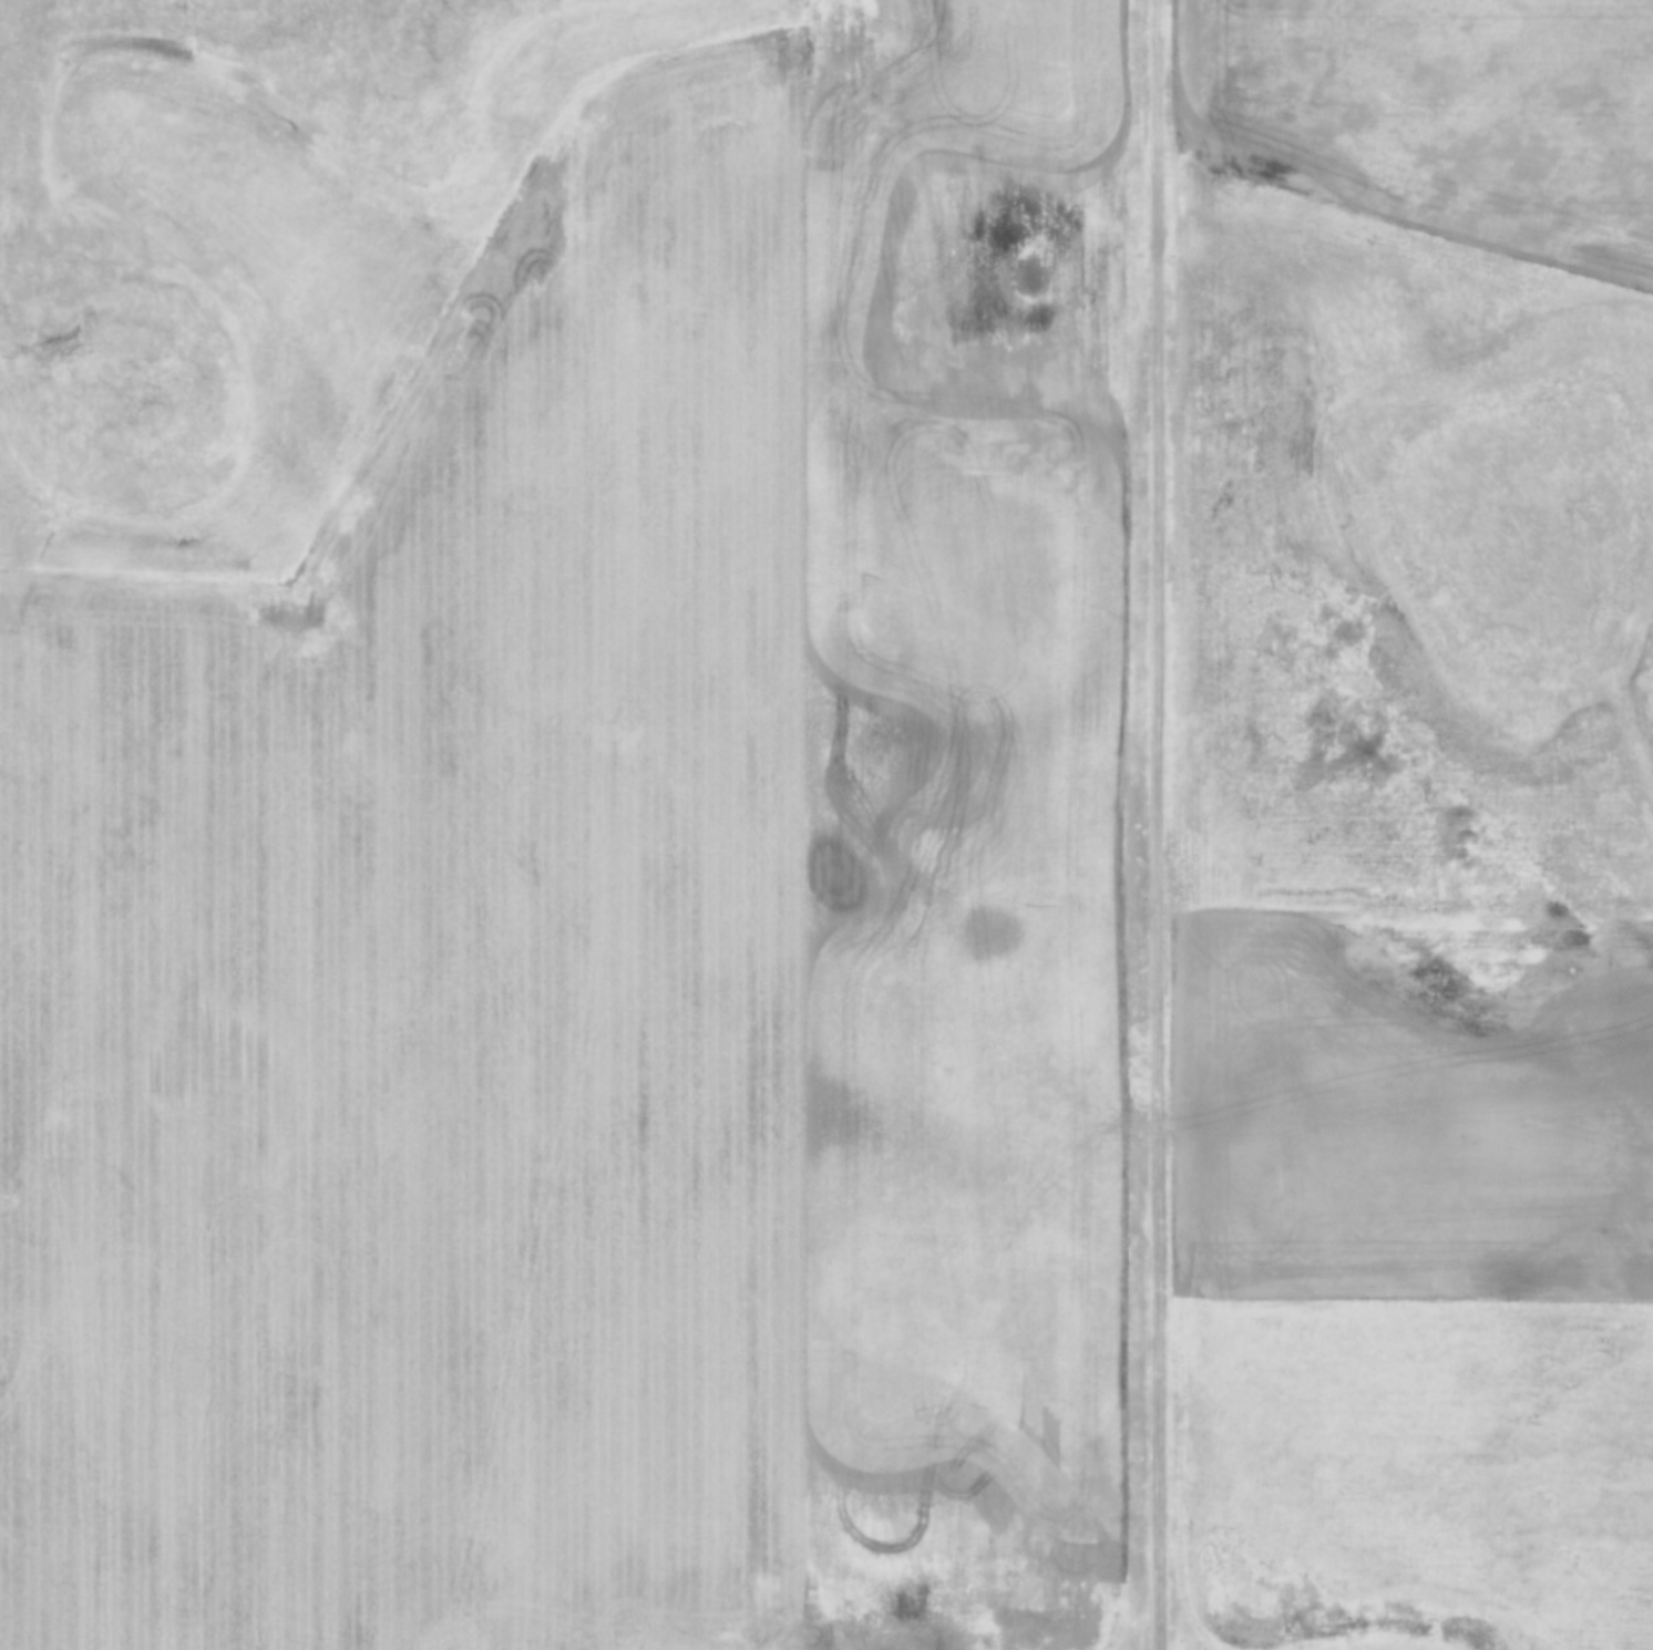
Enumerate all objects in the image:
road: (1159, 825)

